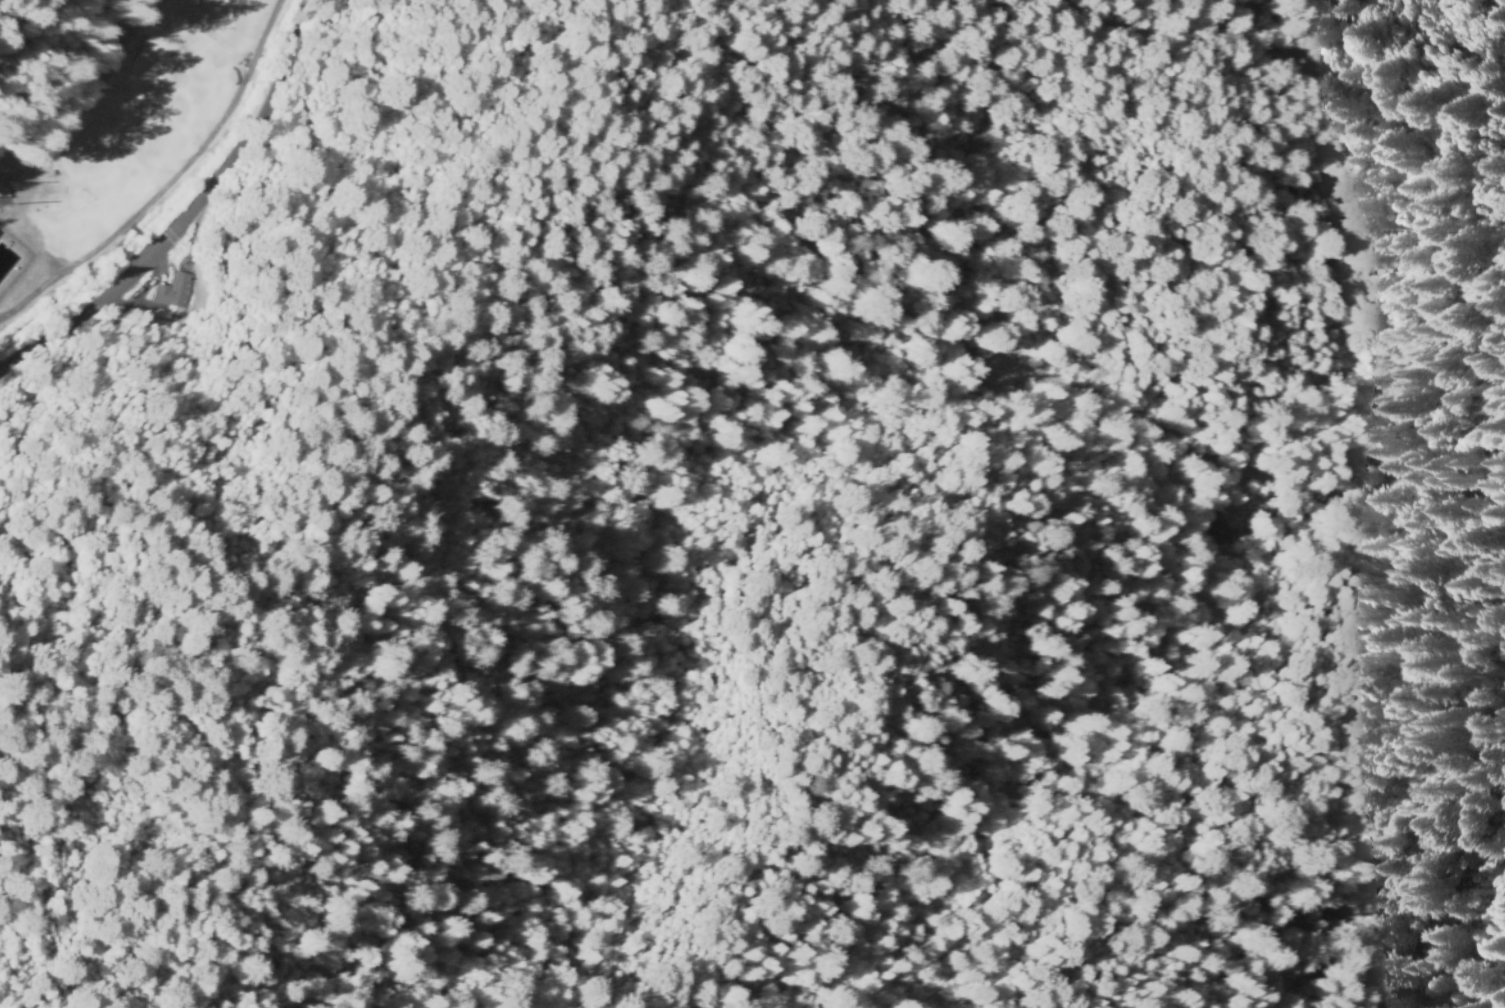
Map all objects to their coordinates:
road: (52, 21)
road: (119, 25)
road: (78, 112)
park: (127, 117)
park: (134, 124)
road: (226, 166)
road: (168, 182)
road: (31, 244)
building: (176, 292)
road: (53, 345)
building: (1241, 526)

